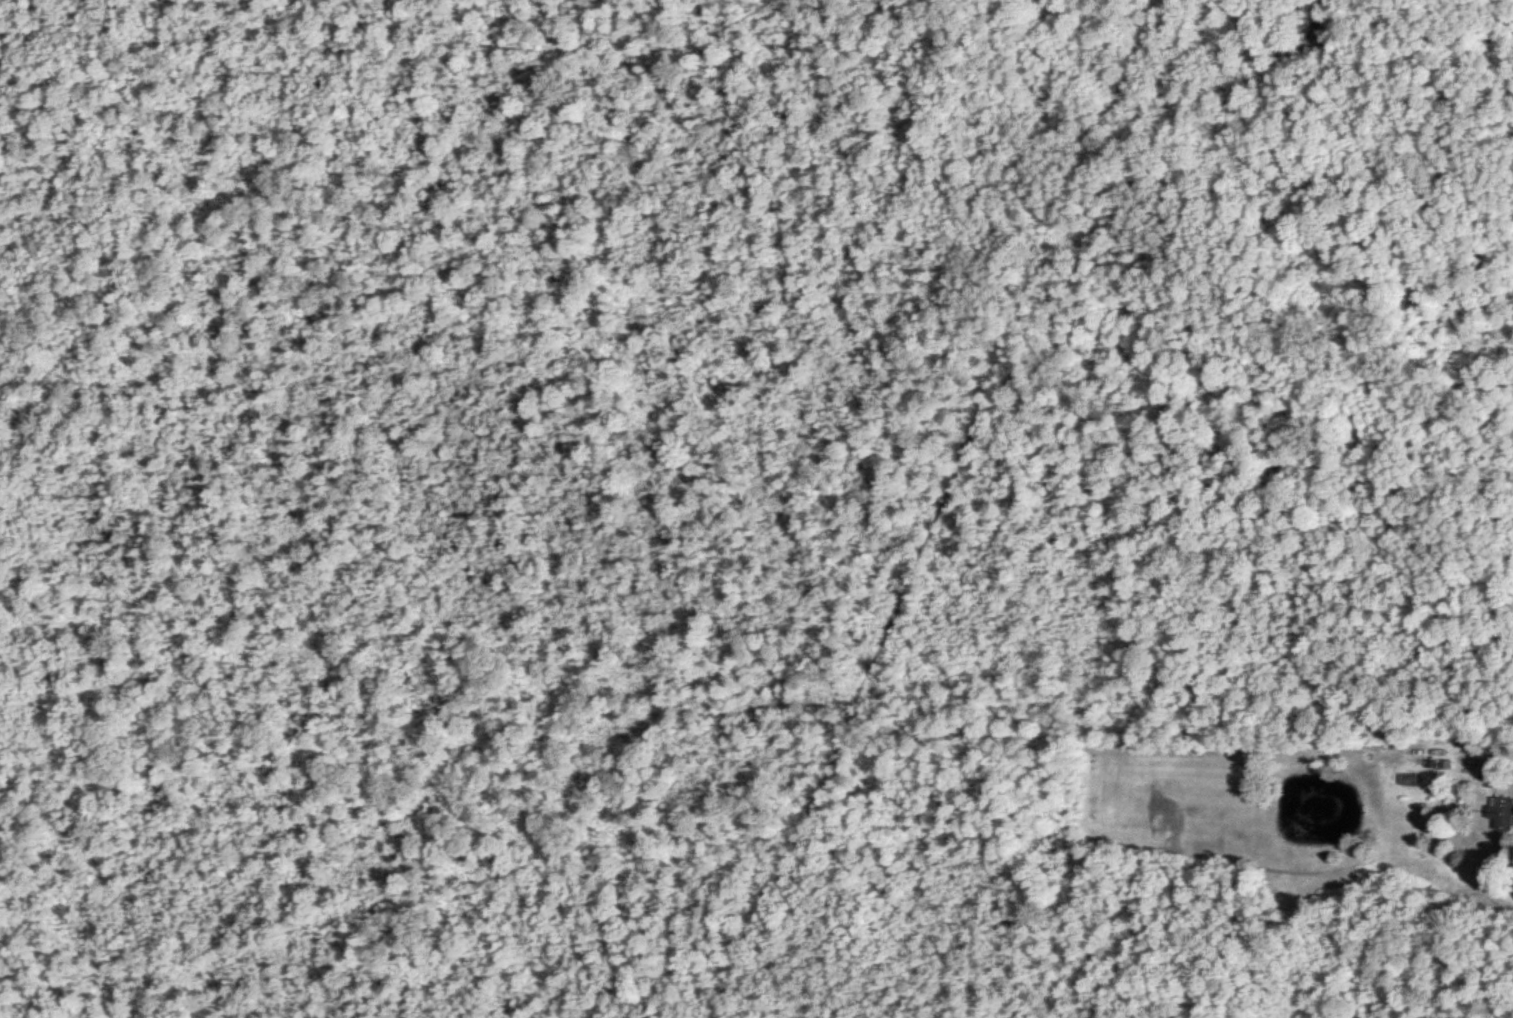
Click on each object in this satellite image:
building: (1500, 813)
building: (1509, 884)

